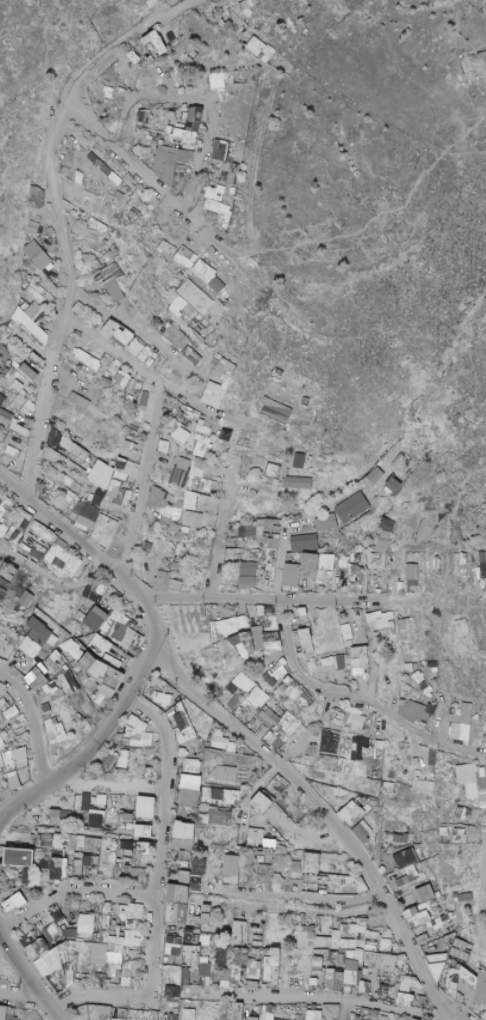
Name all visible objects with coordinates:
building: (248, 6)
building: (158, 45)
building: (257, 46)
building: (485, 54)
building: (134, 57)
road: (39, 60)
building: (109, 93)
road: (179, 95)
building: (198, 113)
road: (482, 115)
building: (145, 117)
building: (187, 138)
building: (220, 151)
building: (171, 162)
road: (140, 172)
building: (230, 174)
building: (37, 179)
building: (34, 188)
road: (194, 189)
building: (35, 197)
building: (31, 206)
building: (216, 207)
building: (33, 208)
building: (104, 208)
road: (58, 212)
building: (33, 252)
building: (184, 257)
building: (27, 262)
building: (31, 267)
building: (210, 279)
building: (27, 282)
building: (32, 289)
building: (114, 291)
building: (195, 296)
building: (177, 306)
building: (79, 309)
building: (48, 329)
building: (120, 334)
building: (176, 338)
building: (189, 357)
building: (88, 360)
building: (225, 368)
building: (29, 373)
building: (123, 379)
building: (19, 386)
building: (136, 386)
building: (214, 395)
building: (2, 399)
building: (80, 401)
building: (25, 404)
building: (276, 412)
building: (6, 415)
building: (1, 421)
building: (134, 427)
building: (180, 436)
building: (67, 444)
building: (200, 446)
building: (164, 447)
building: (11, 452)
building: (82, 454)
building: (401, 464)
building: (124, 470)
building: (180, 470)
building: (272, 471)
building: (376, 475)
building: (54, 476)
building: (101, 482)
building: (299, 483)
building: (393, 485)
building: (70, 486)
building: (46, 490)
building: (118, 497)
building: (4, 504)
building: (164, 504)
building: (351, 507)
building: (84, 509)
building: (192, 520)
building: (326, 524)
building: (44, 531)
building: (105, 531)
building: (14, 537)
building: (305, 543)
building: (381, 546)
road: (87, 547)
building: (36, 555)
building: (63, 559)
building: (482, 565)
building: (306, 570)
building: (412, 575)
building: (249, 576)
building: (6, 577)
building: (356, 579)
building: (161, 581)
building: (175, 586)
building: (98, 594)
building: (25, 599)
building: (267, 617)
building: (93, 619)
building: (40, 632)

